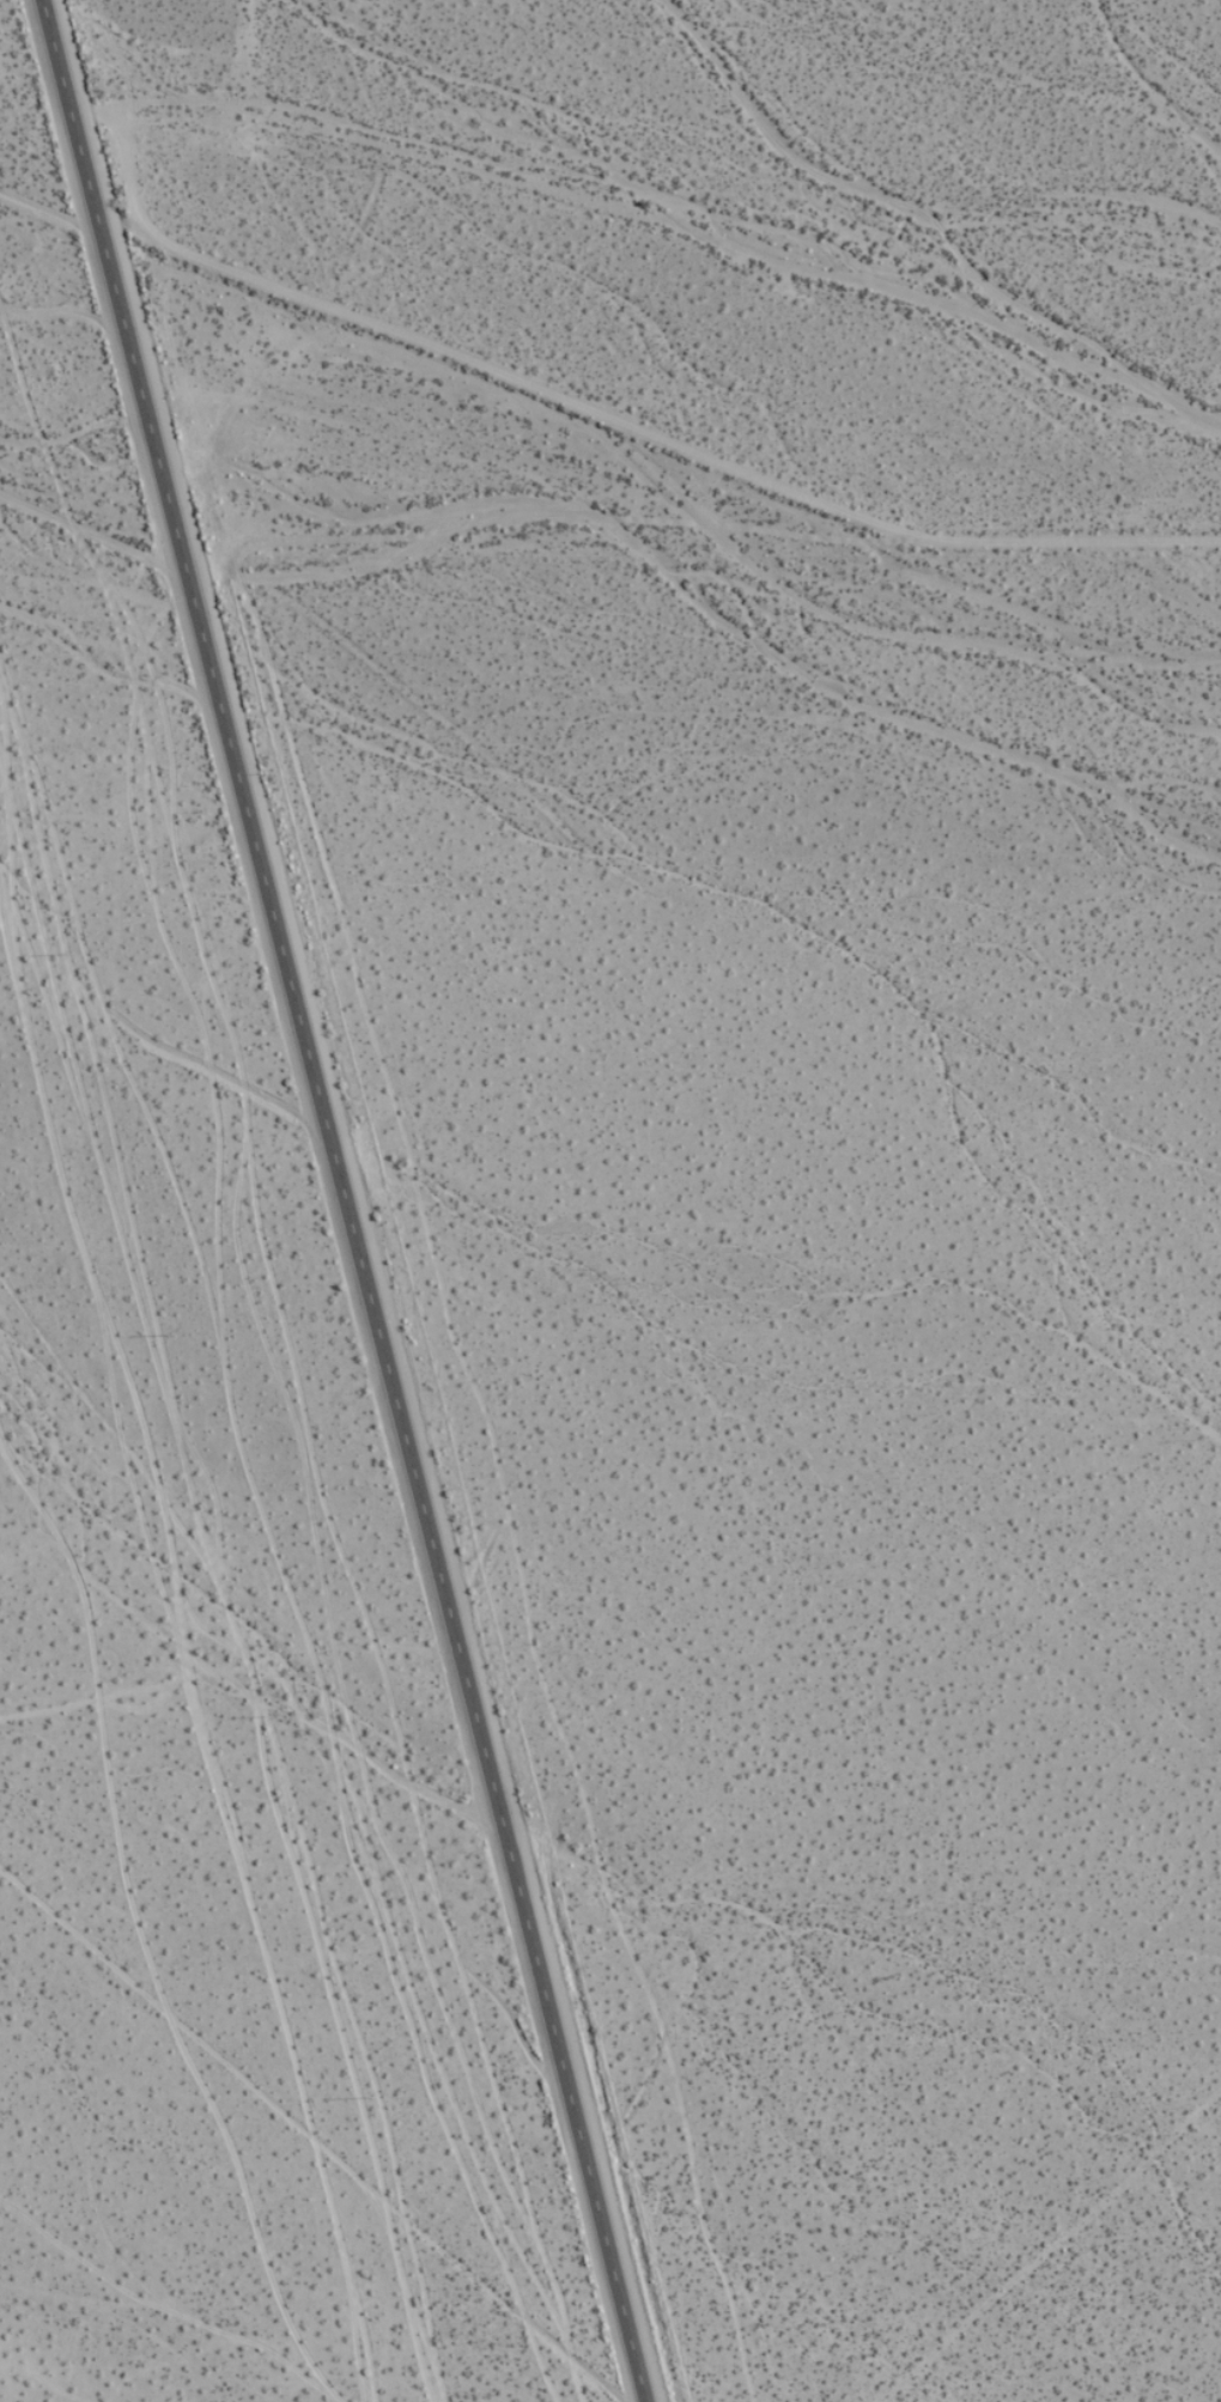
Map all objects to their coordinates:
road: (344, 1200)

